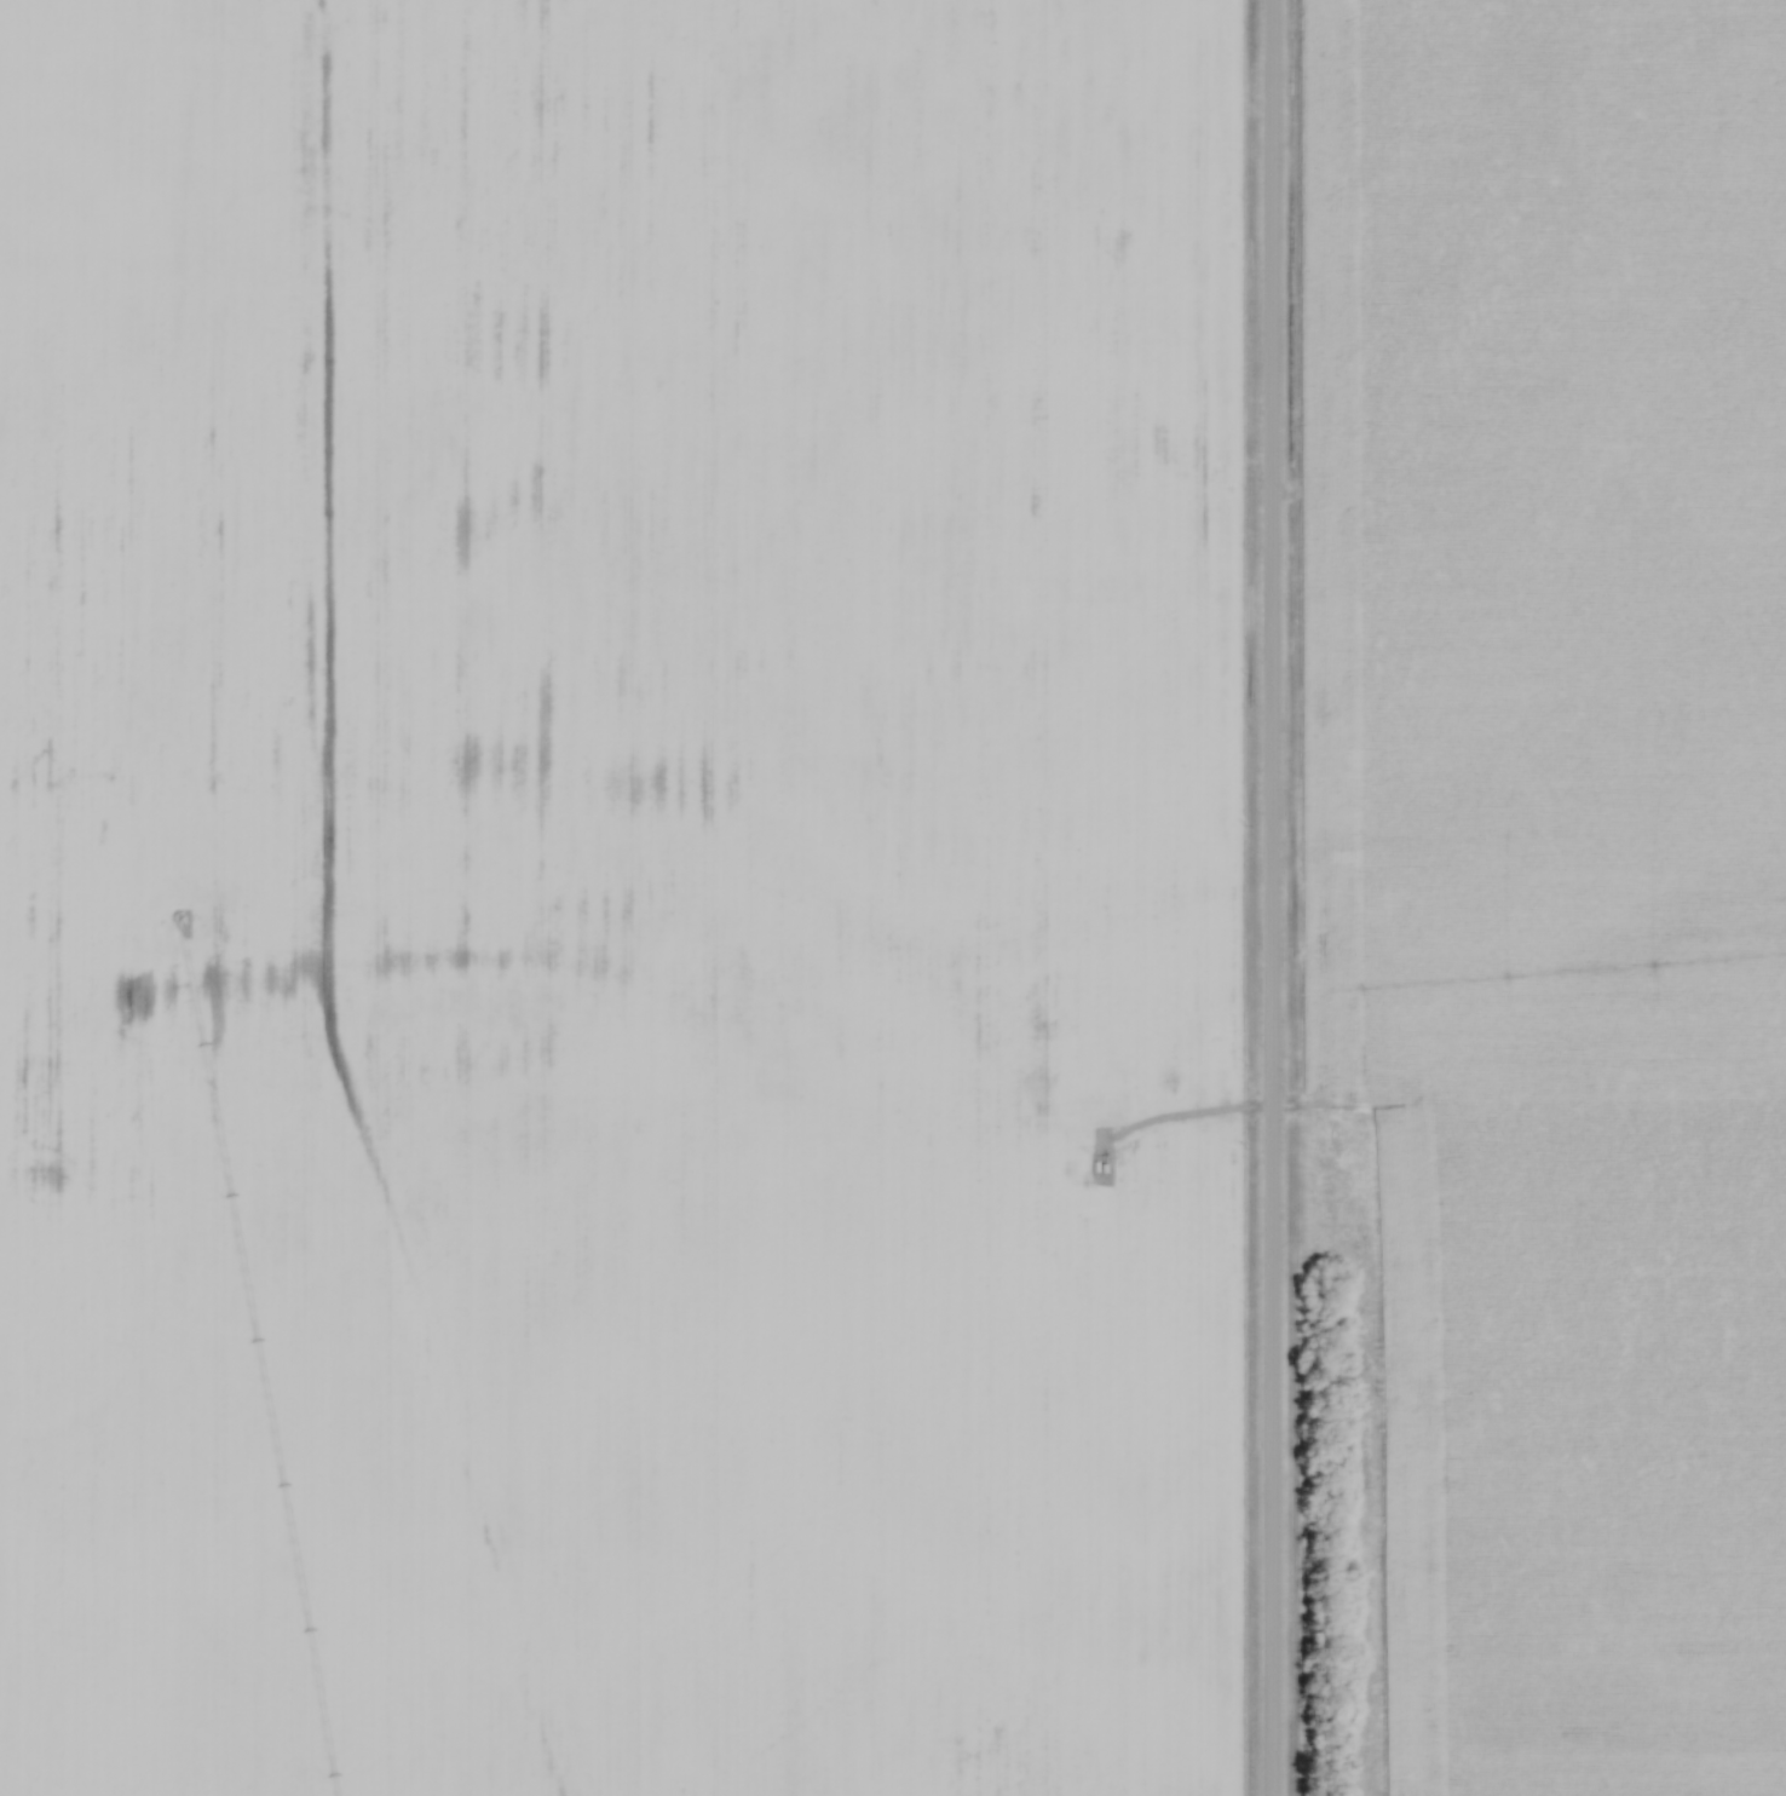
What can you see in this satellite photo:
road: (1275, 898)

